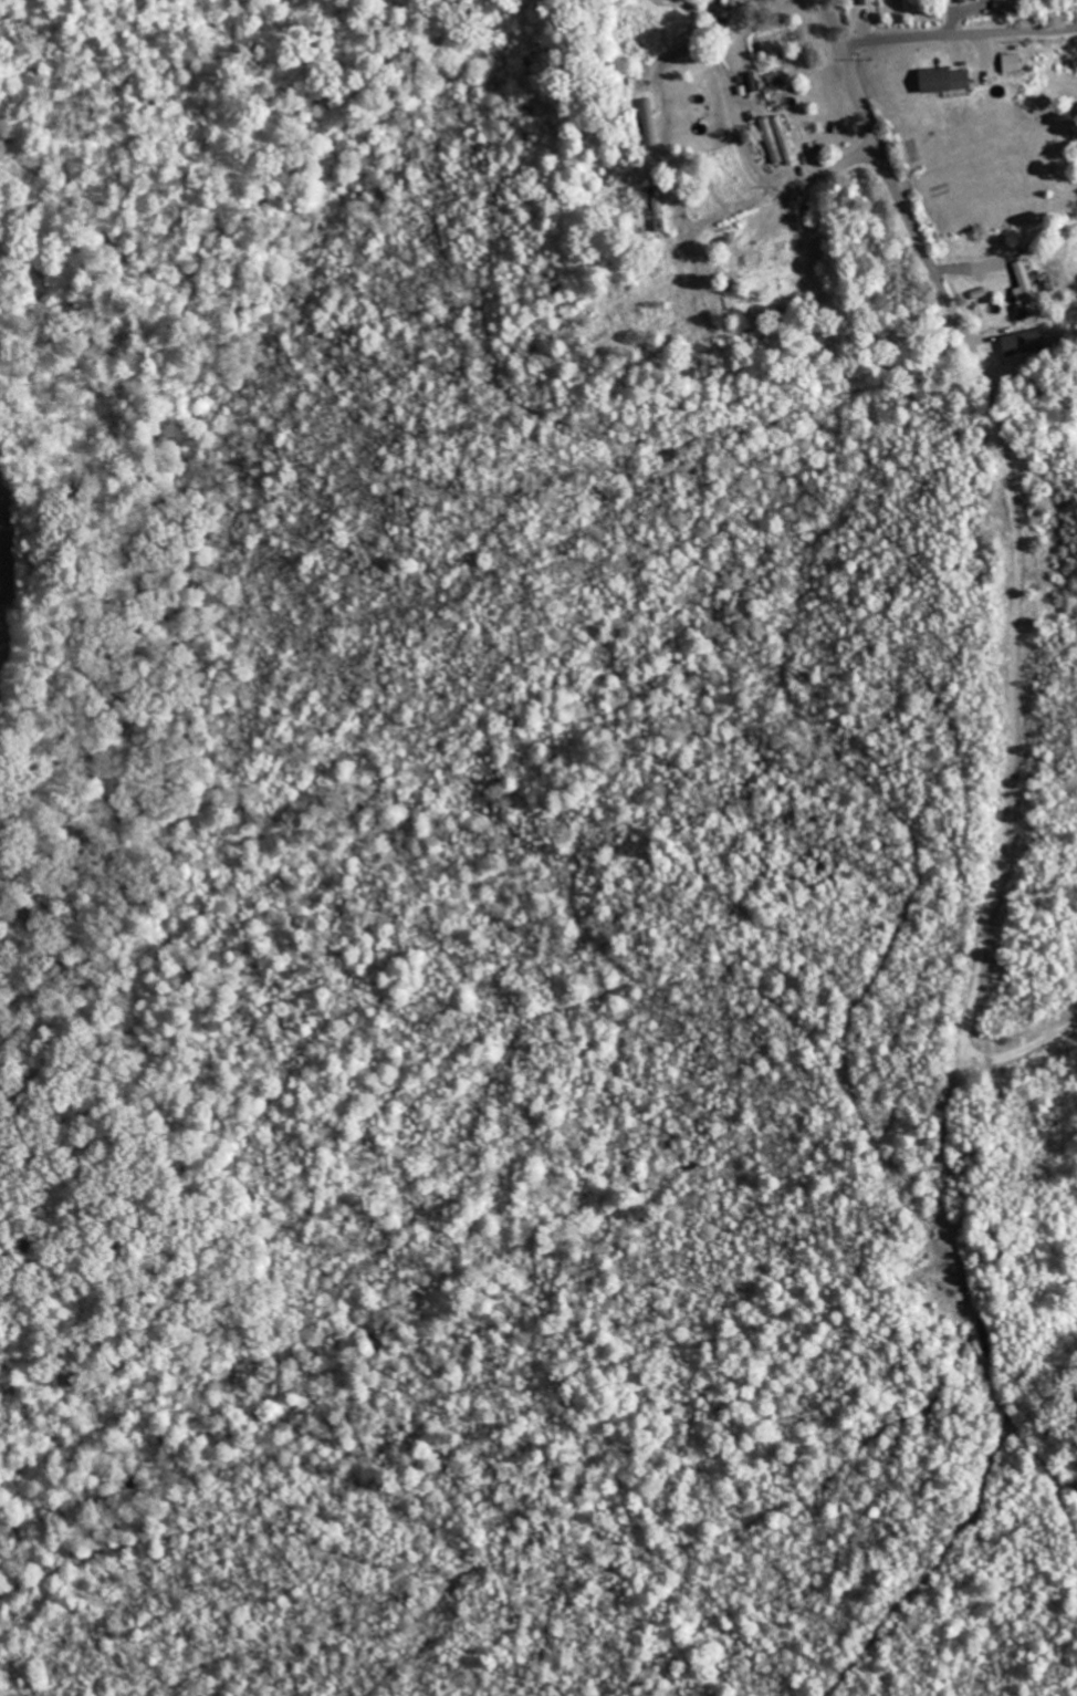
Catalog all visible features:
building: (956, 0)
building: (864, 2)
road: (956, 34)
building: (1005, 63)
building: (937, 81)
building: (649, 122)
building: (784, 139)
road: (846, 164)
building: (1022, 287)
road: (974, 388)

